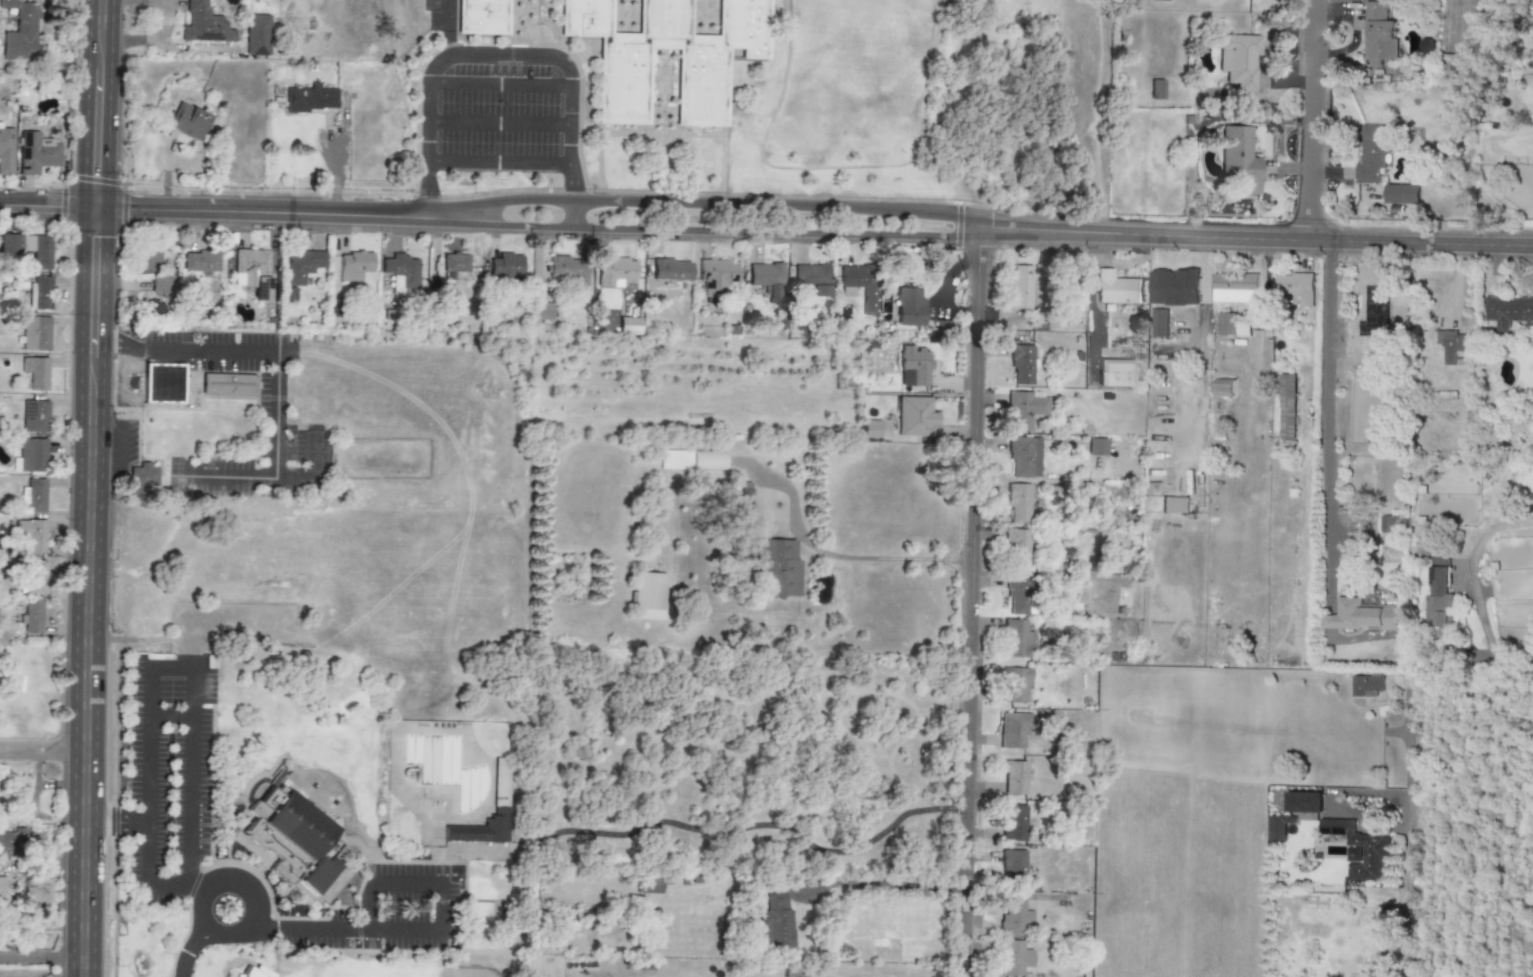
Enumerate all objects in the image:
building: (483, 17)
building: (202, 25)
road: (444, 29)
building: (16, 31)
building: (1378, 34)
building: (255, 35)
road: (490, 60)
building: (1239, 60)
building: (1459, 67)
road: (501, 87)
building: (1157, 90)
building: (624, 92)
building: (311, 99)
road: (96, 104)
road: (1312, 120)
building: (188, 122)
road: (501, 124)
building: (5, 152)
building: (35, 154)
building: (1371, 155)
road: (337, 160)
building: (1240, 160)
road: (500, 162)
building: (1401, 194)
road: (710, 204)
road: (47, 209)
road: (574, 213)
road: (268, 214)
road: (707, 226)
road: (1252, 238)
building: (9, 245)
building: (39, 251)
building: (149, 260)
building: (201, 262)
building: (455, 263)
building: (303, 265)
building: (354, 266)
building: (506, 267)
building: (566, 270)
building: (252, 272)
building: (613, 272)
building: (401, 273)
building: (671, 273)
building: (716, 278)
building: (767, 279)
building: (812, 280)
building: (159, 284)
building: (861, 285)
building: (1022, 287)
building: (1173, 287)
building: (1297, 287)
road: (1091, 288)
building: (1117, 288)
building: (1235, 288)
building: (42, 294)
building: (909, 308)
building: (1508, 311)
building: (542, 312)
building: (1158, 323)
building: (1226, 324)
building: (628, 326)
road: (1264, 328)
building: (1242, 330)
building: (36, 334)
road: (1201, 341)
building: (1450, 347)
building: (1022, 365)
building: (913, 366)
building: (36, 373)
road: (276, 378)
building: (163, 381)
building: (228, 385)
building: (1223, 388)
road: (1326, 397)
building: (1286, 407)
building: (1024, 410)
building: (35, 416)
building: (915, 417)
building: (871, 429)
road: (107, 444)
building: (1097, 448)
building: (32, 455)
building: (1025, 458)
building: (691, 460)
road: (313, 467)
building: (142, 478)
building: (738, 494)
building: (36, 496)
building: (1018, 503)
building: (1174, 505)
building: (31, 535)
building: (1017, 550)
road: (882, 558)
building: (777, 568)
building: (35, 577)
road: (87, 592)
building: (1440, 594)
building: (1018, 595)
building: (647, 596)
road: (966, 604)
building: (1361, 616)
building: (32, 617)
road: (1486, 637)
building: (1017, 639)
building: (1015, 685)
building: (1367, 686)
road: (191, 701)
building: (1013, 732)
road: (42, 754)
building: (1014, 778)
building: (1305, 803)
road: (115, 823)
building: (1014, 823)
building: (1278, 827)
building: (481, 830)
building: (286, 831)
road: (1407, 834)
building: (14, 844)
building: (1358, 849)
building: (1014, 868)
road: (148, 872)
building: (318, 875)
road: (404, 884)
road: (881, 884)
building: (651, 885)
building: (2, 886)
building: (37, 891)
road: (199, 909)
road: (254, 910)
building: (1015, 919)
building: (775, 920)
road: (344, 928)
road: (41, 955)
road: (187, 957)
building: (1015, 958)
building: (257, 973)
building: (794, 974)

